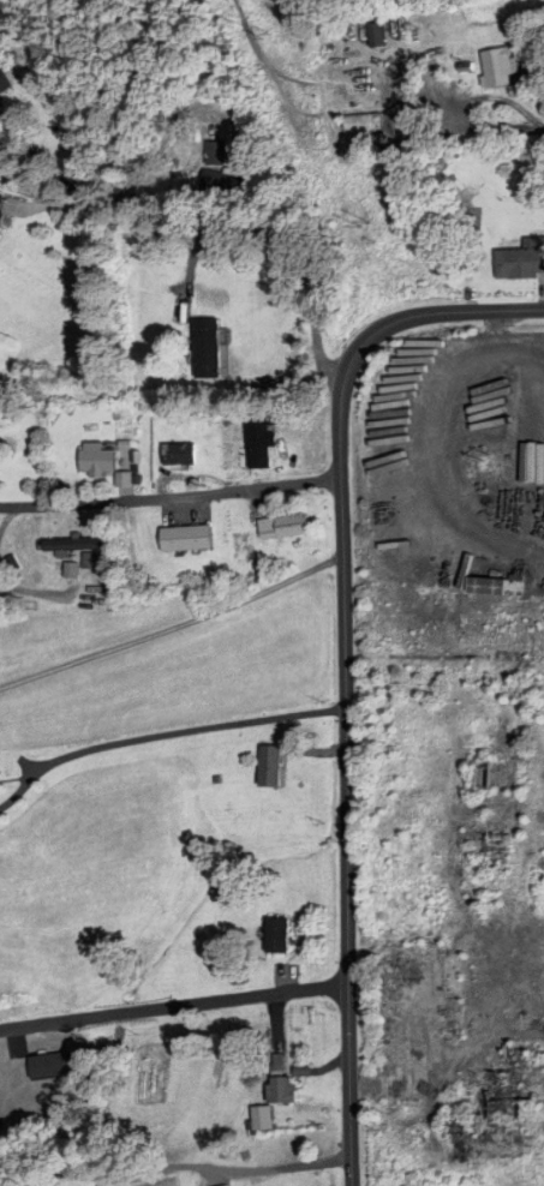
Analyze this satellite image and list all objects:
building: (495, 70)
building: (2, 85)
building: (361, 125)
road: (501, 131)
building: (215, 155)
building: (222, 184)
building: (0, 203)
road: (222, 238)
building: (520, 263)
building: (208, 355)
building: (259, 445)
building: (178, 456)
building: (95, 461)
road: (169, 497)
building: (282, 528)
building: (185, 540)
building: (71, 546)
building: (486, 588)
road: (172, 628)
road: (343, 667)
road: (162, 739)
building: (270, 768)
building: (494, 778)
building: (496, 857)
building: (275, 936)
building: (542, 989)
road: (171, 1007)
building: (151, 1056)
building: (281, 1090)
building: (492, 1108)
building: (261, 1119)
road: (223, 1170)

